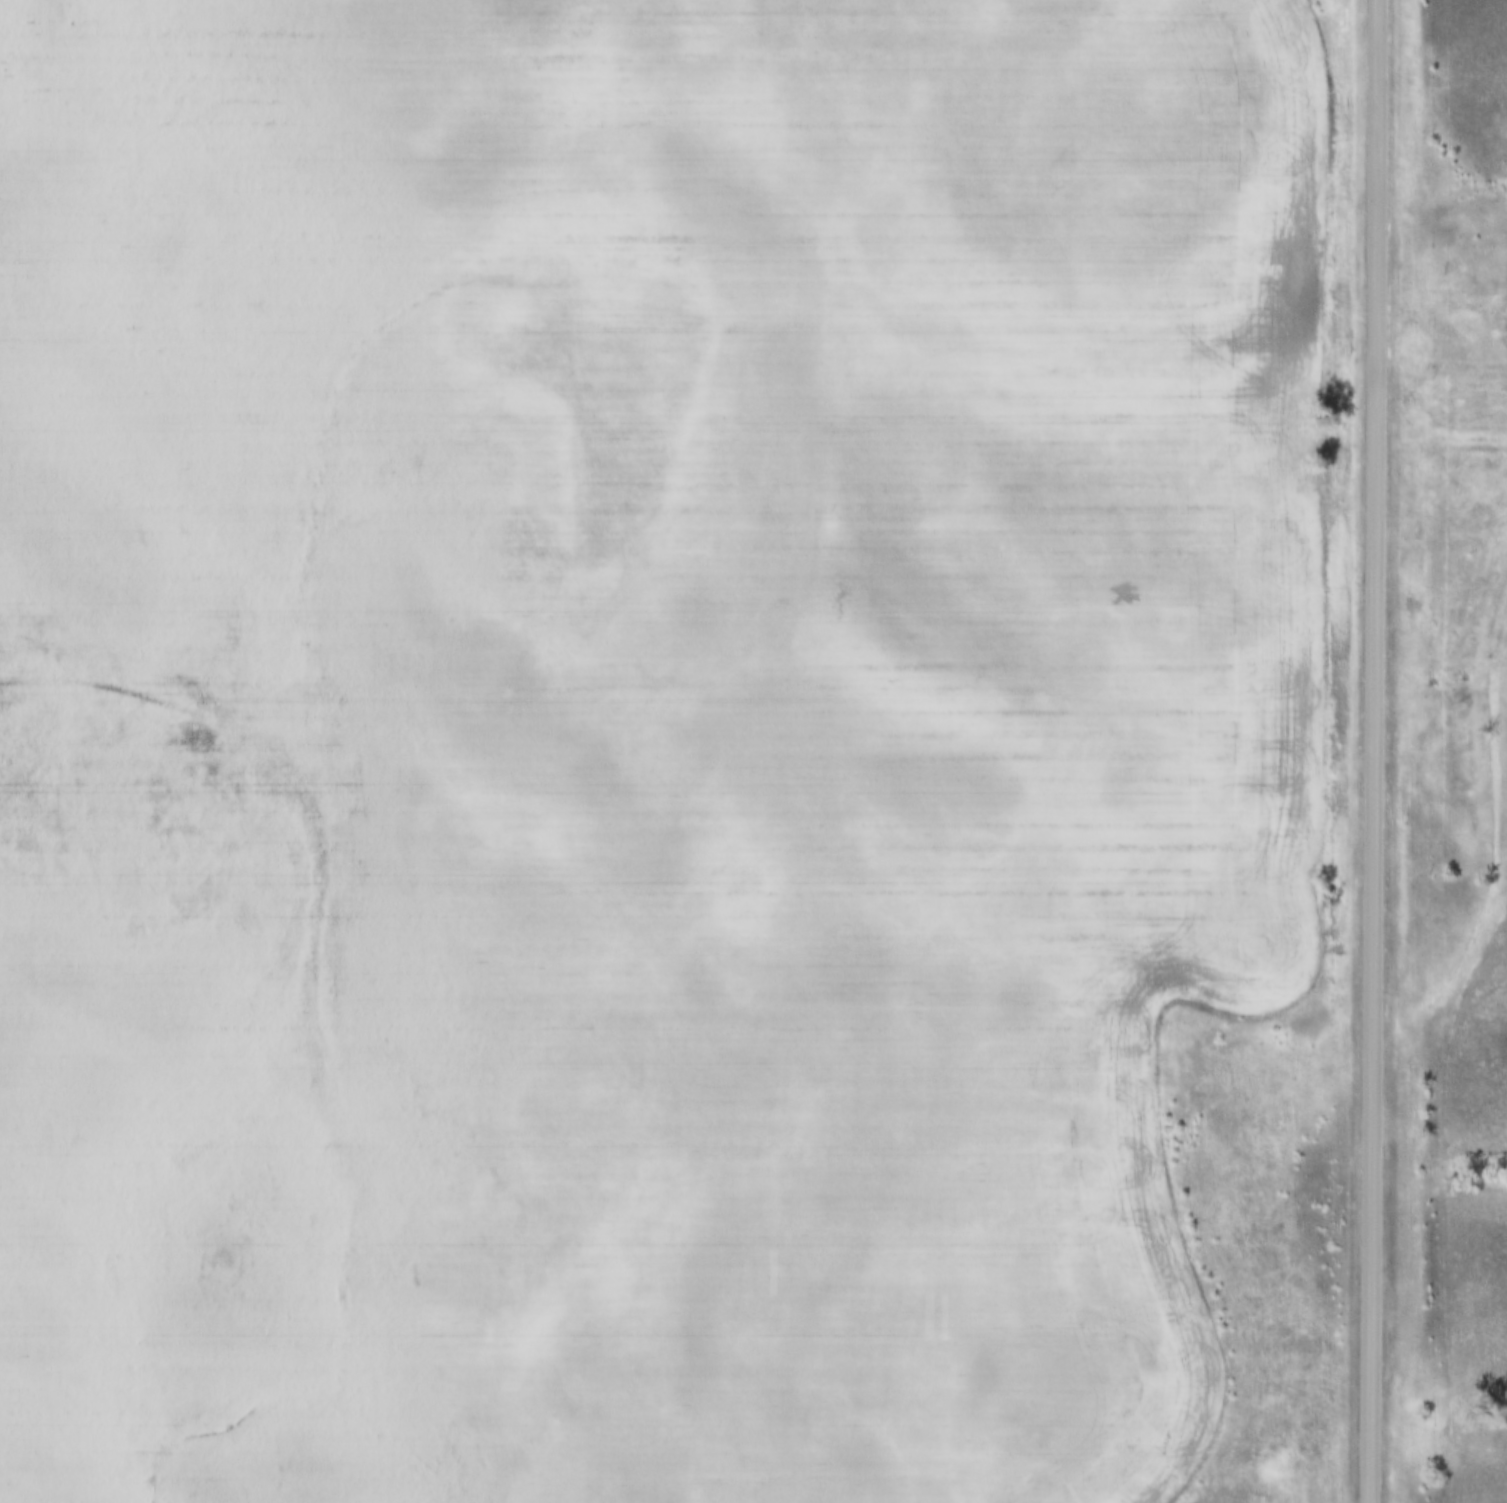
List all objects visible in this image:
road: (1375, 751)

